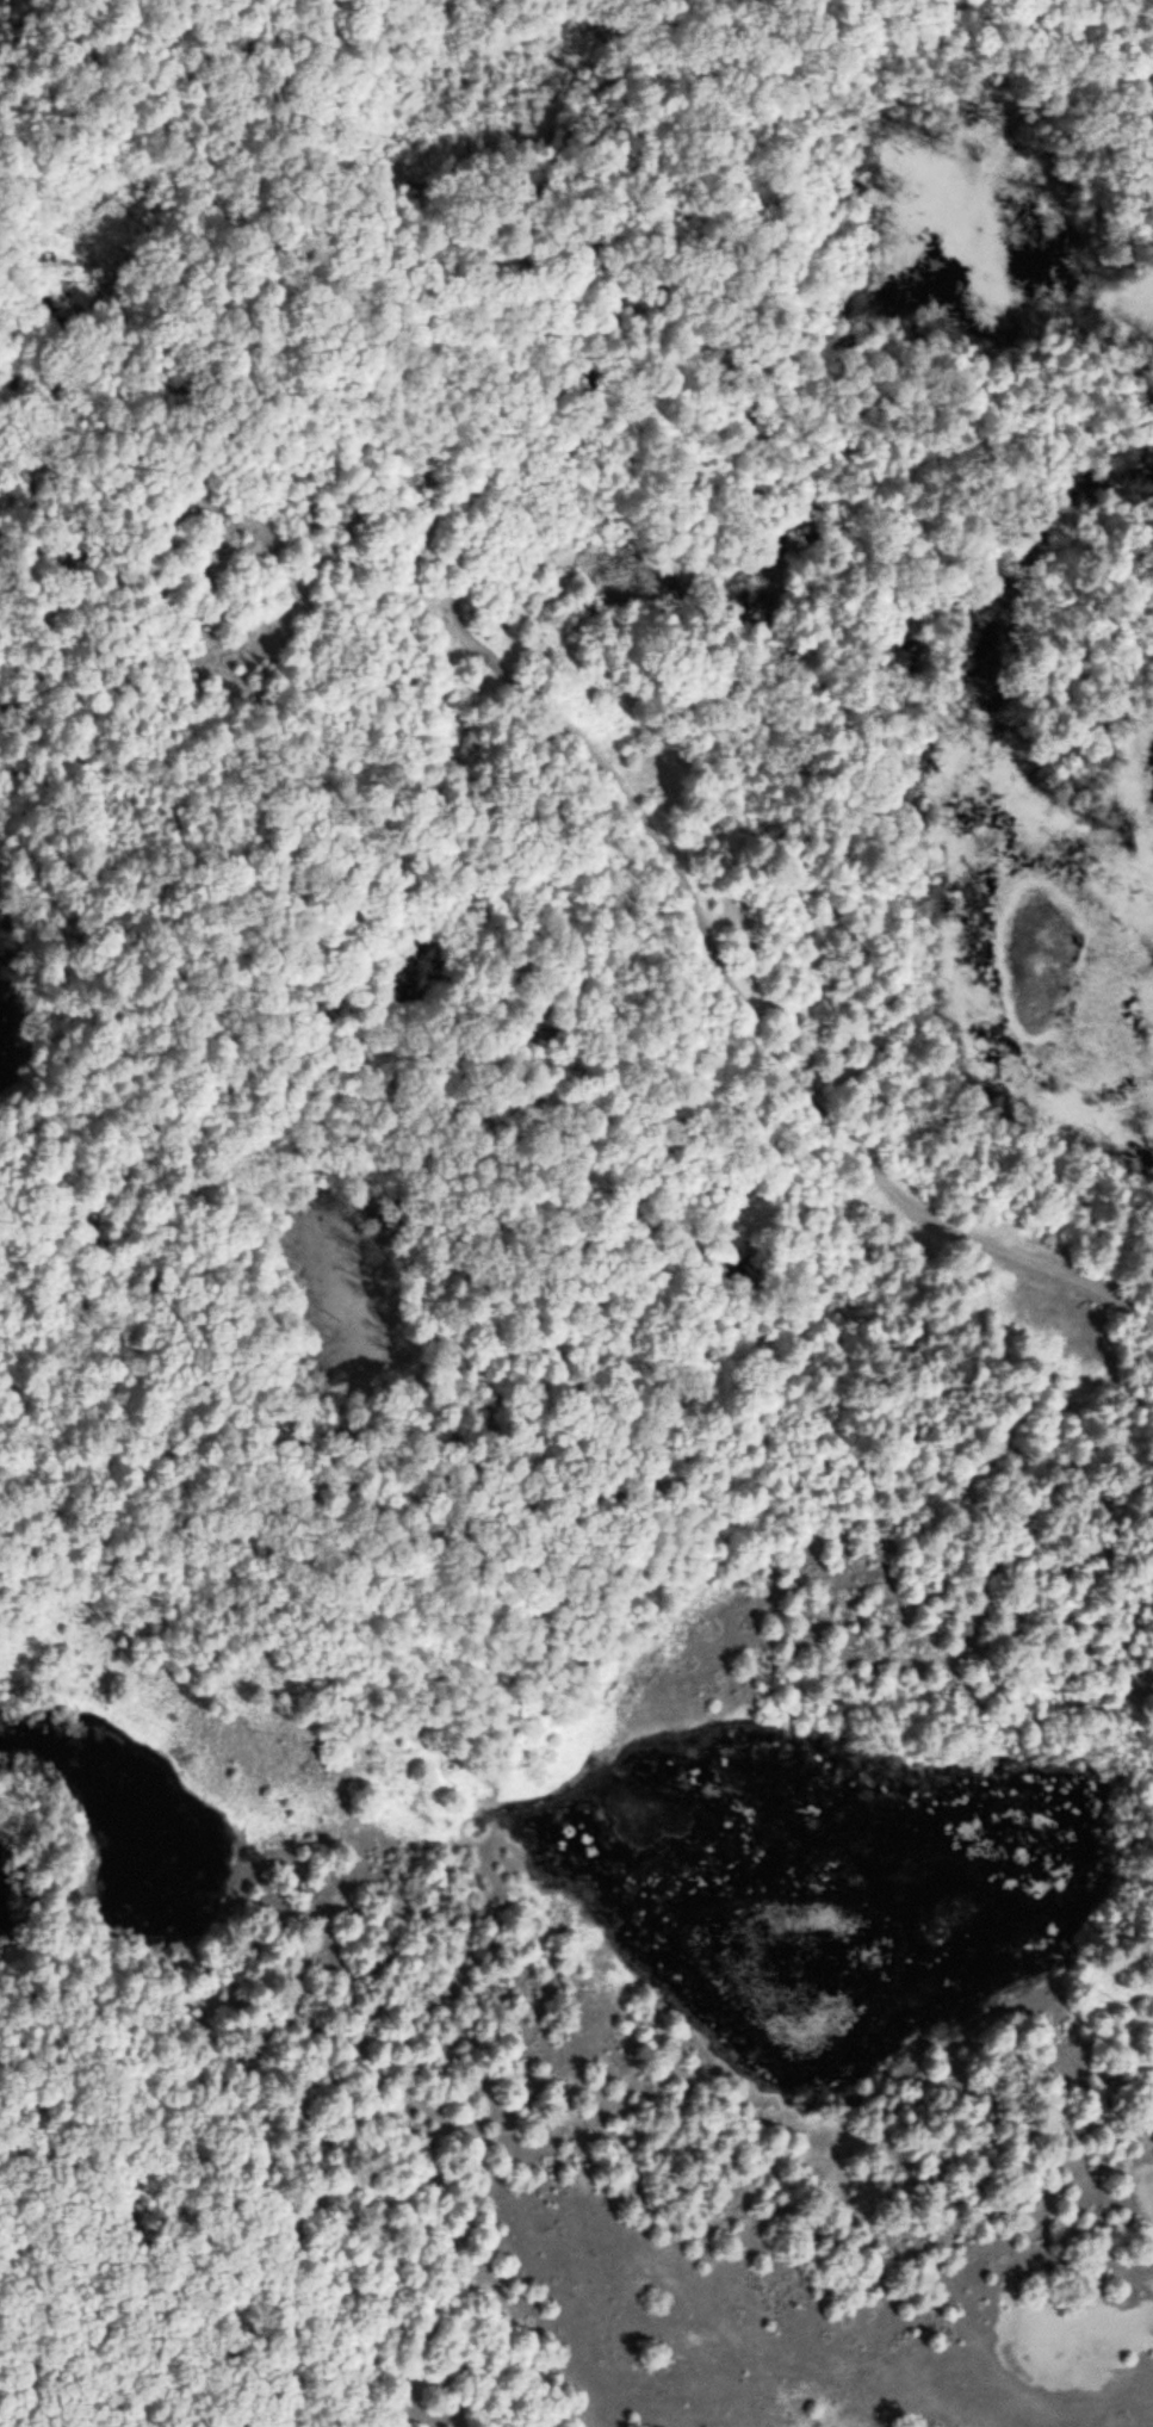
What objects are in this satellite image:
road: (1035, 41)
road: (575, 742)

